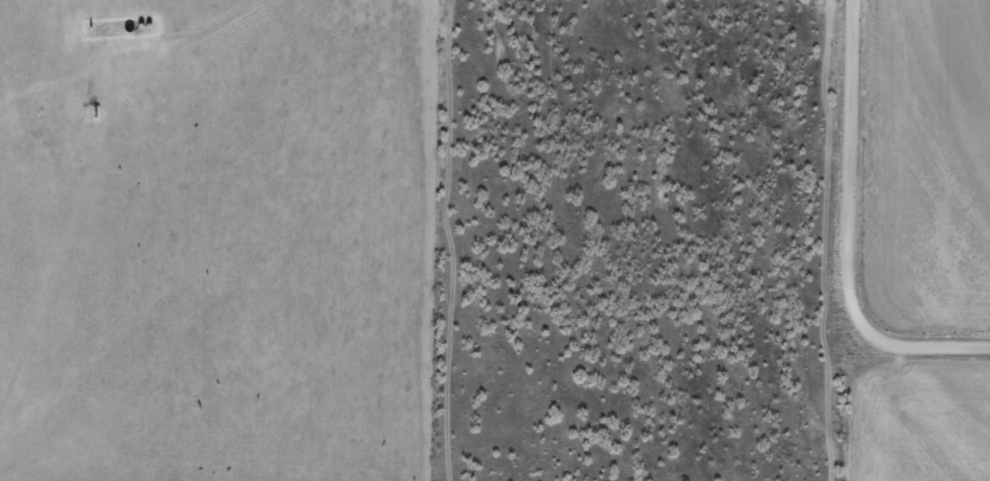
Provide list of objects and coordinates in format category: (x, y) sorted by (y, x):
road: (844, 234)

